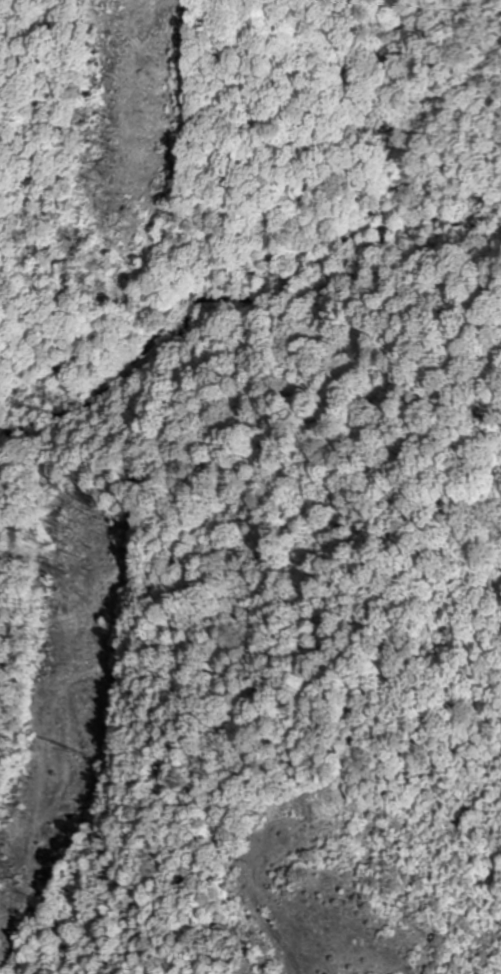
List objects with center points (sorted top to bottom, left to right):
power tower: (79, 753)

